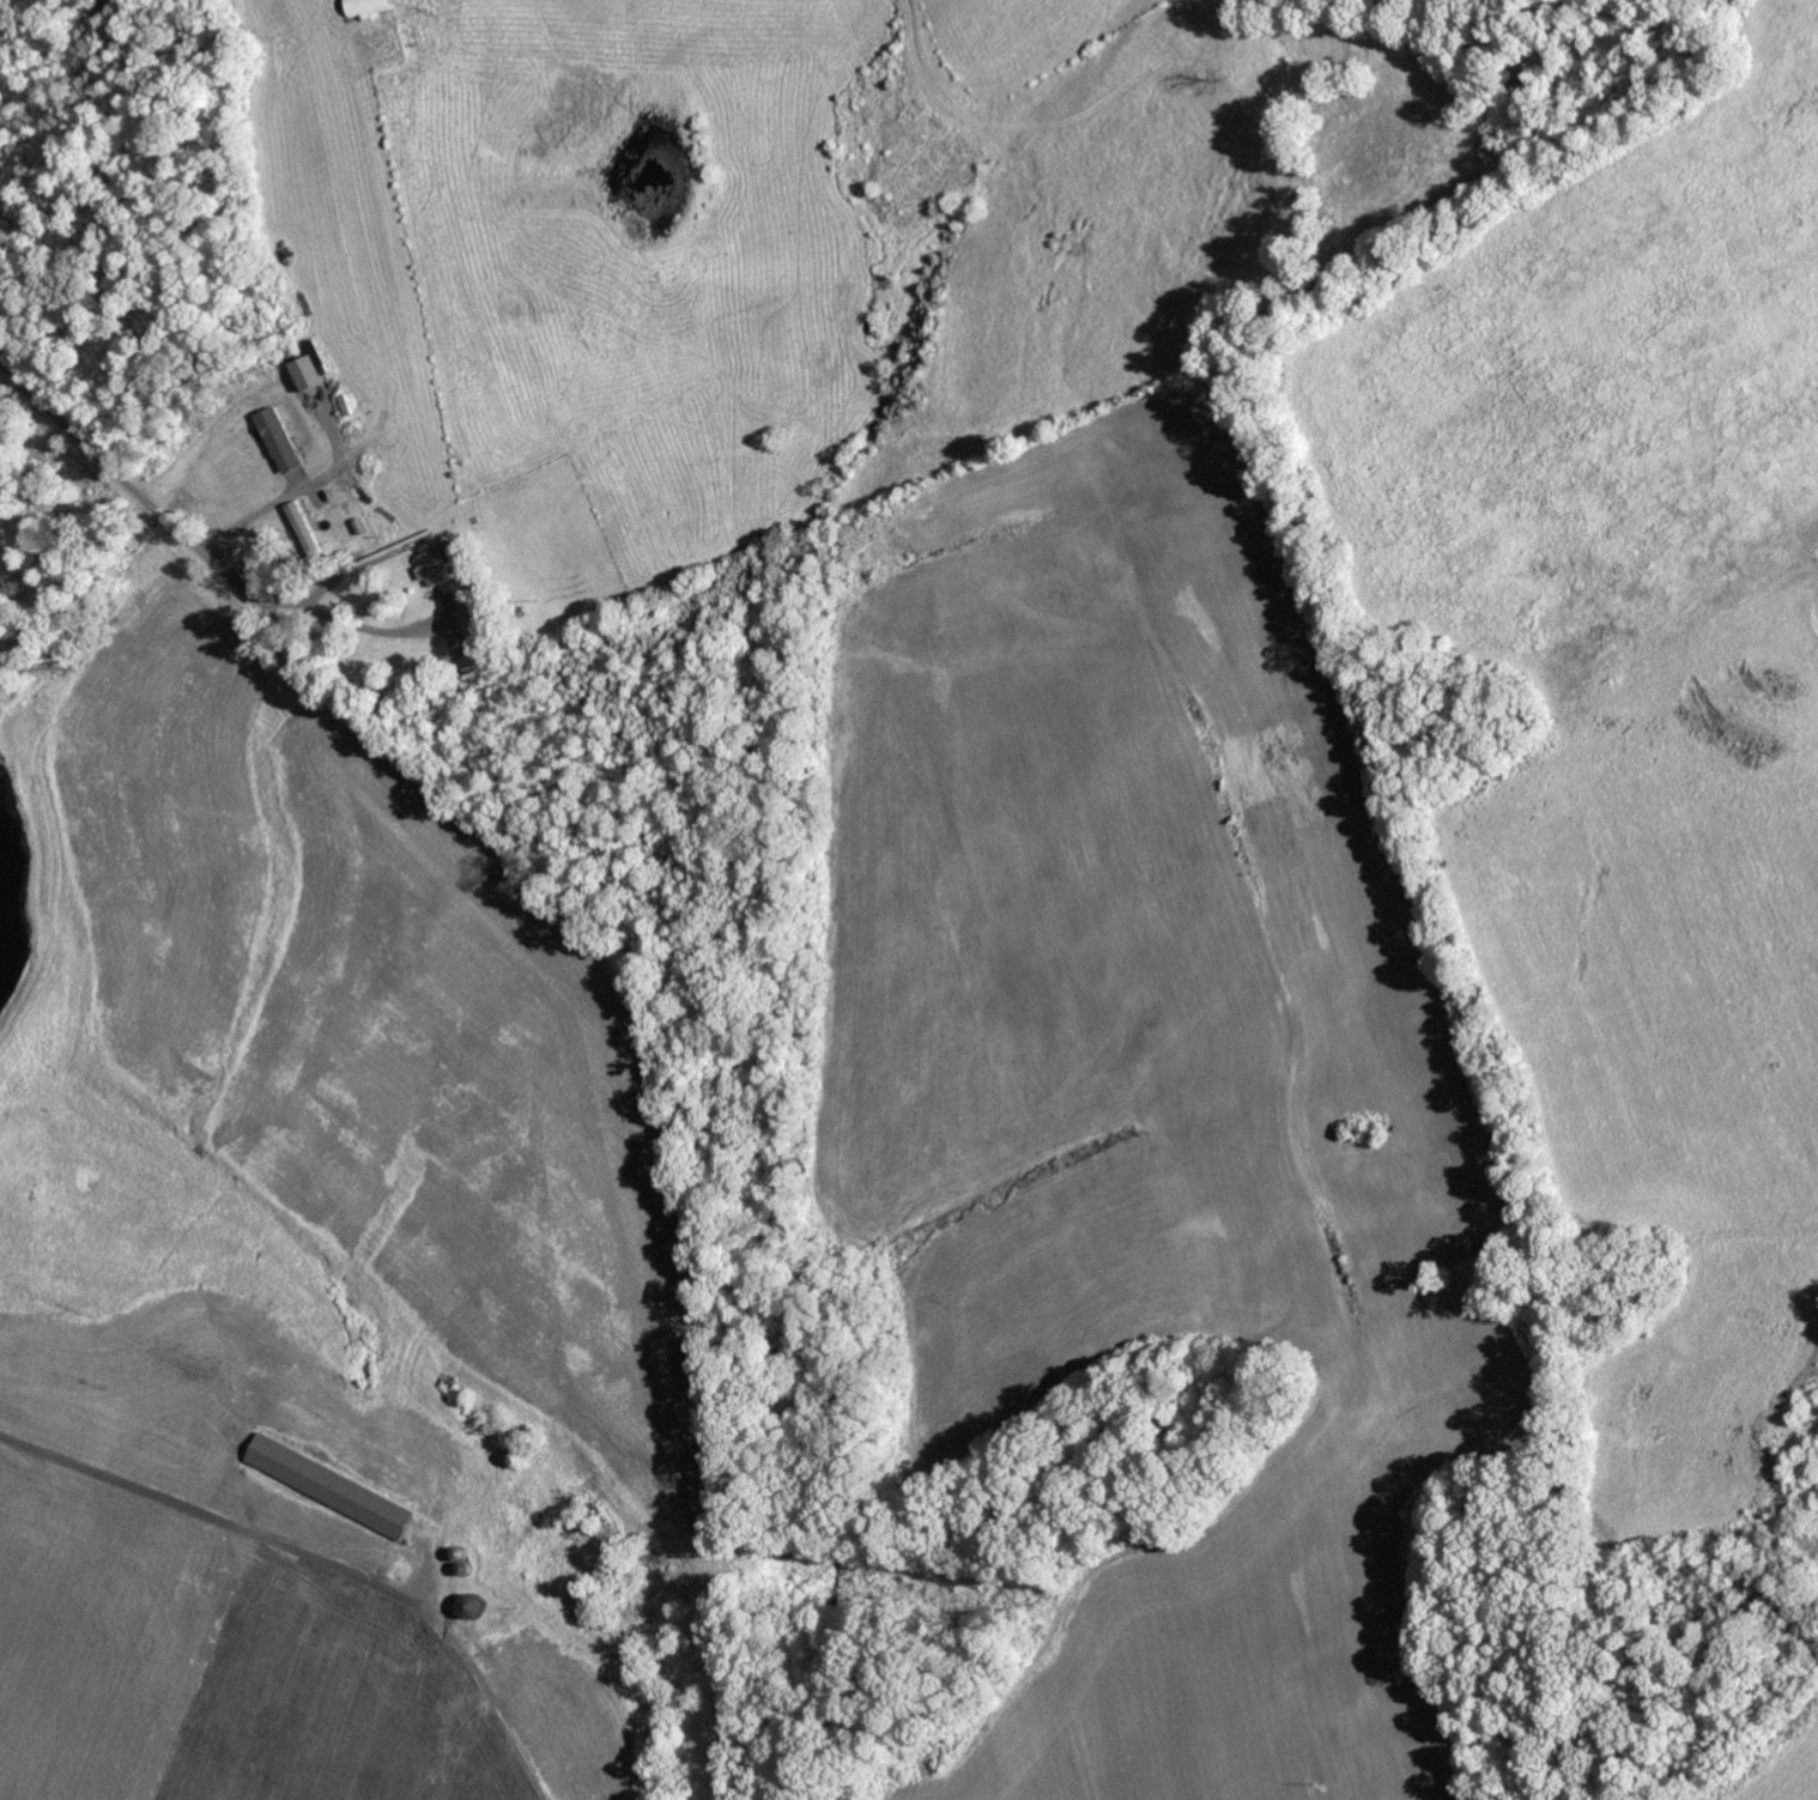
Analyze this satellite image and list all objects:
building: (309, 372)
building: (279, 438)
road: (119, 475)
building: (435, 566)
building: (473, 620)
building: (332, 1485)
road: (218, 1517)

